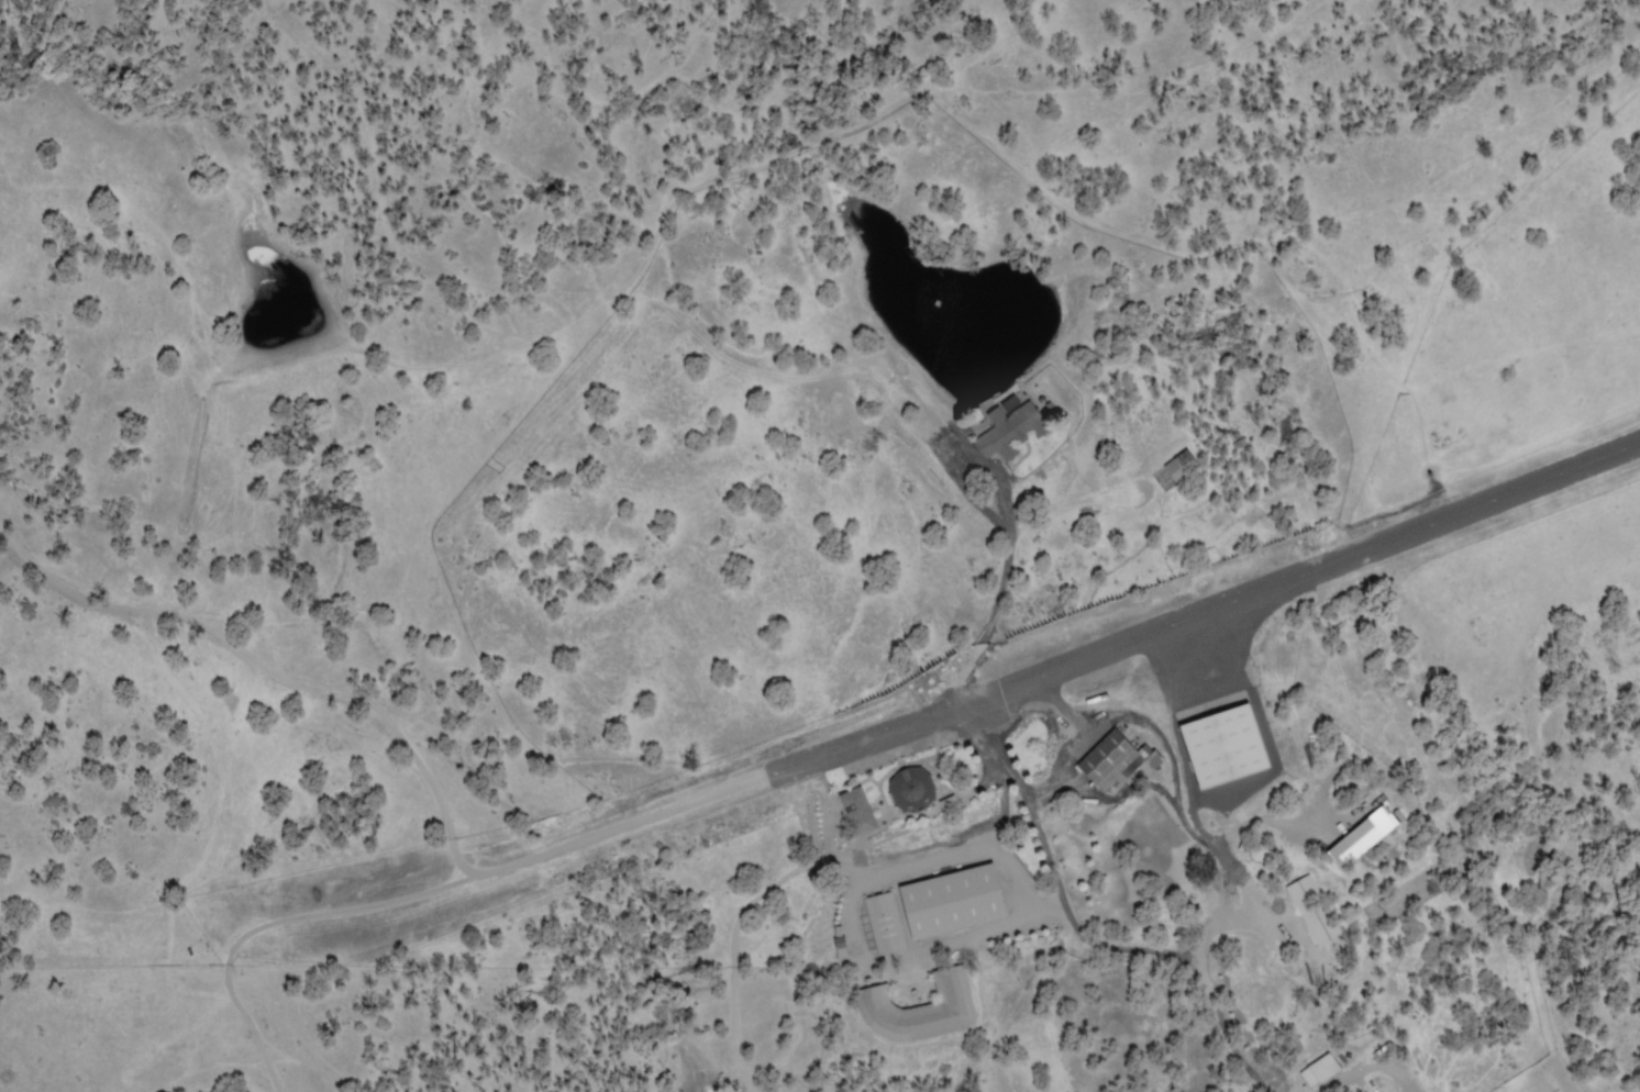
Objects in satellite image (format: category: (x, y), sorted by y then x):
building: (1009, 434)
airport runway: (1207, 606)
building: (1222, 748)
building: (1109, 762)
building: (948, 807)
building: (951, 904)
building: (885, 926)
road: (1200, 967)
building: (1319, 1073)

